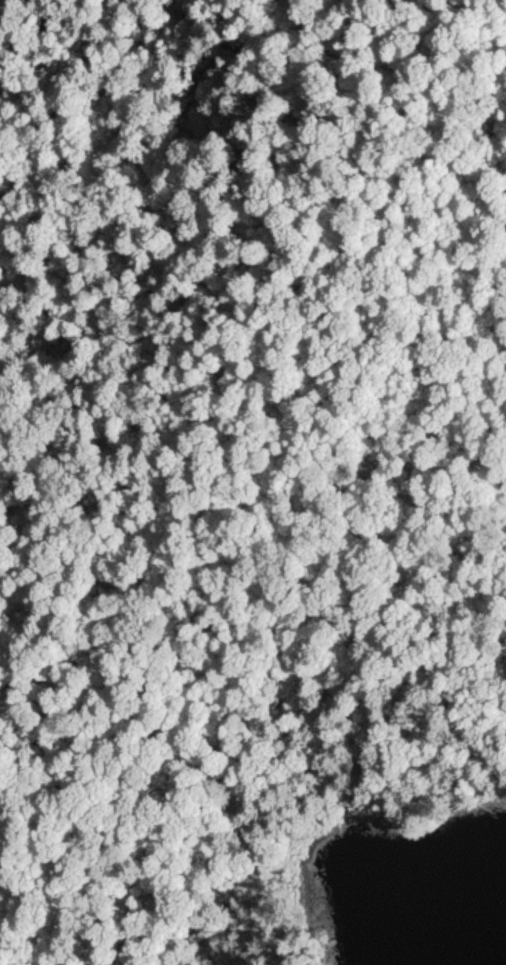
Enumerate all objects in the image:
road: (249, 726)

